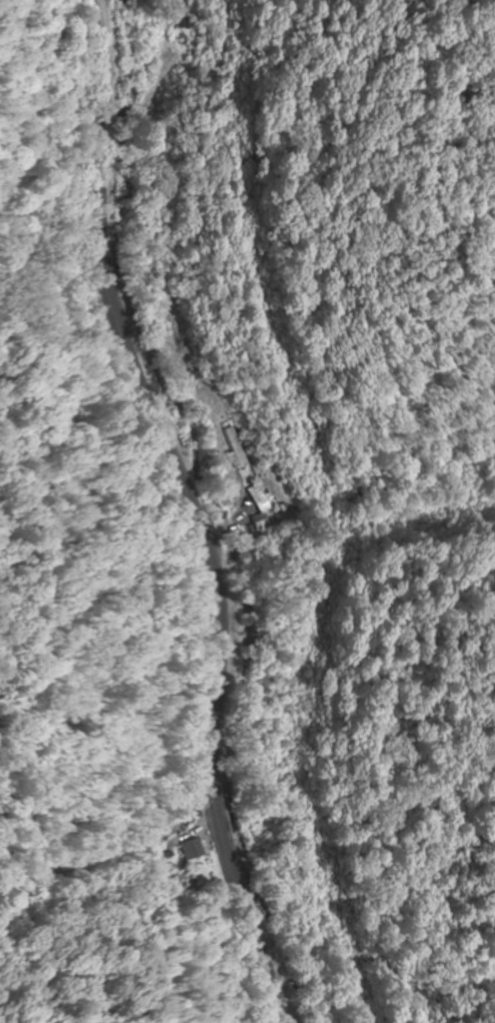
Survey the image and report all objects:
road: (220, 505)

